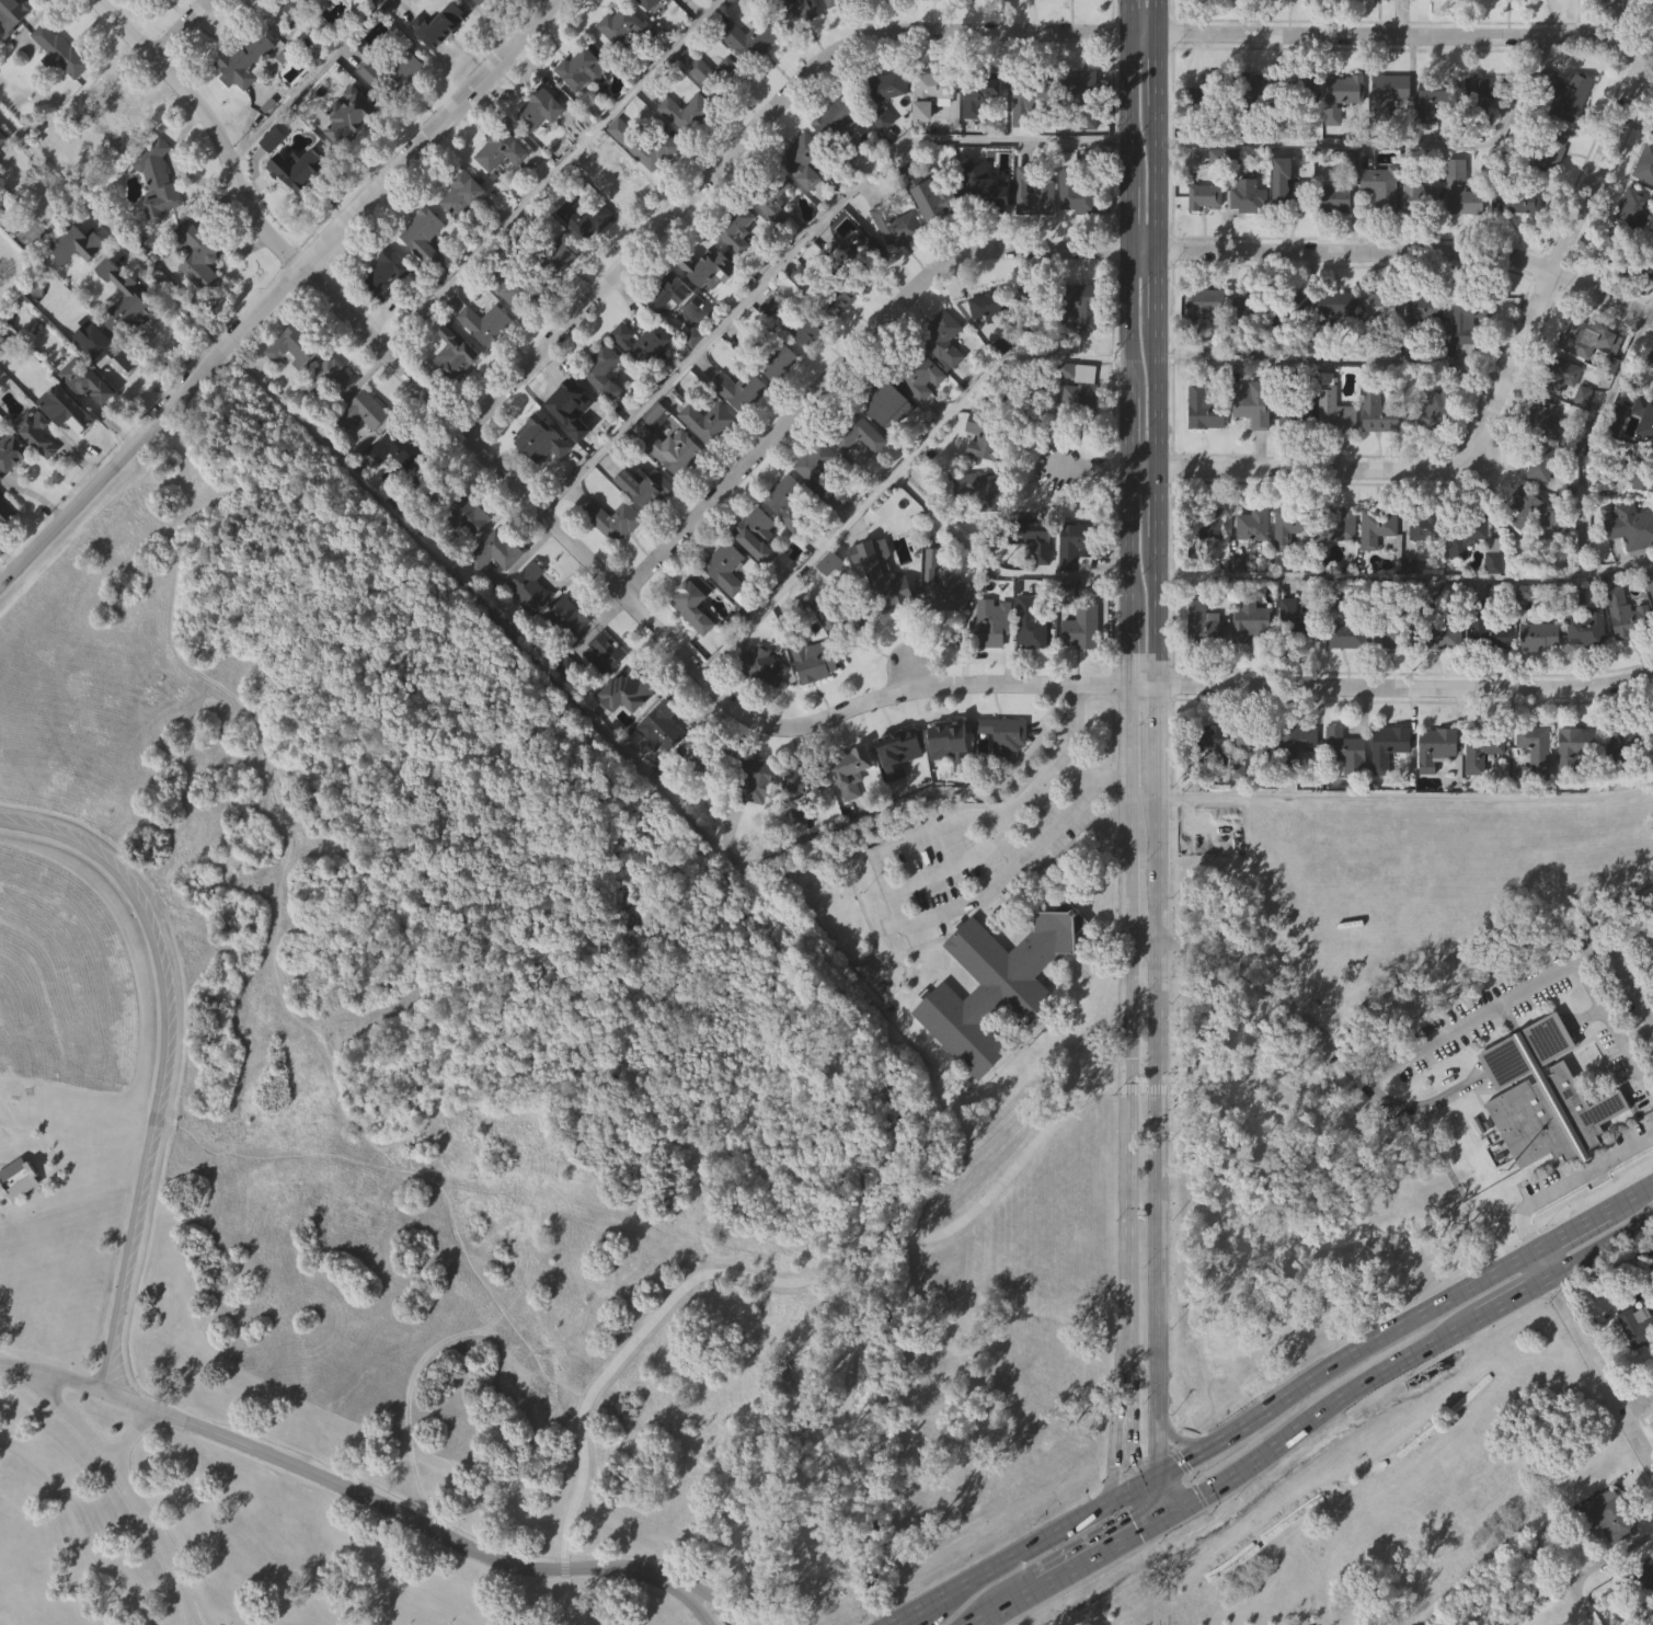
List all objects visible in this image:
building: (1604, 0)
building: (310, 1)
building: (479, 1)
building: (835, 2)
building: (645, 3)
building: (291, 5)
building: (355, 5)
building: (795, 11)
building: (12, 12)
building: (146, 13)
building: (712, 13)
building: (984, 16)
building: (1463, 18)
building: (1033, 19)
building: (887, 21)
building: (1076, 21)
building: (438, 22)
building: (933, 22)
building: (1384, 23)
building: (623, 24)
building: (1333, 24)
building: (1506, 24)
building: (1550, 24)
building: (1618, 25)
building: (1296, 26)
road: (180, 27)
building: (310, 28)
building: (1205, 28)
building: (835, 30)
building: (1247, 30)
building: (0, 31)
building: (655, 32)
road: (1147, 33)
road: (1402, 35)
building: (751, 37)
building: (61, 50)
building: (799, 50)
building: (242, 58)
building: (582, 69)
building: (438, 70)
building: (622, 71)
building: (391, 73)
building: (721, 75)
road: (305, 81)
building: (748, 85)
building: (982, 89)
building: (1299, 90)
building: (1210, 92)
building: (1250, 92)
building: (1485, 92)
building: (884, 94)
building: (927, 94)
building: (1390, 94)
building: (1438, 94)
building: (58, 95)
building: (1084, 95)
building: (1343, 95)
building: (1563, 96)
building: (1030, 99)
building: (245, 105)
building: (540, 108)
building: (118, 113)
building: (689, 113)
building: (353, 115)
building: (391, 115)
building: (579, 115)
building: (710, 116)
building: (835, 118)
building: (1079, 129)
building: (884, 131)
building: (1253, 131)
road: (755, 133)
building: (1342, 137)
building: (1479, 137)
building: (1549, 137)
building: (2, 138)
building: (929, 138)
building: (1387, 138)
building: (977, 140)
building: (1569, 141)
road: (1385, 142)
building: (1196, 144)
building: (1431, 144)
building: (1026, 146)
building: (504, 148)
building: (654, 149)
building: (0, 151)
building: (538, 155)
building: (116, 158)
building: (686, 158)
building: (349, 159)
building: (805, 160)
building: (1646, 160)
building: (292, 164)
building: (834, 164)
building: (880, 164)
road: (550, 173)
building: (158, 180)
building: (272, 183)
building: (622, 183)
building: (1067, 183)
building: (2, 185)
building: (1288, 185)
building: (1384, 187)
building: (643, 190)
building: (989, 192)
building: (1035, 192)
building: (462, 193)
building: (1463, 193)
building: (1549, 193)
building: (1419, 194)
building: (500, 195)
building: (773, 195)
building: (1515, 195)
building: (1206, 196)
building: (1250, 196)
building: (935, 198)
building: (1336, 198)
building: (1633, 205)
building: (803, 206)
building: (298, 214)
building: (586, 217)
building: (157, 224)
building: (898, 226)
building: (621, 228)
building: (738, 228)
building: (1287, 232)
building: (1072, 233)
building: (1379, 233)
building: (984, 234)
building: (425, 236)
building: (460, 238)
road: (800, 239)
building: (1459, 239)
building: (1033, 241)
building: (1203, 242)
building: (1247, 242)
building: (931, 244)
building: (1417, 244)
road: (1564, 244)
building: (773, 245)
building: (1333, 245)
road: (1149, 247)
building: (1514, 248)
road: (1412, 249)
building: (552, 253)
building: (197, 254)
building: (860, 255)
building: (1632, 259)
building: (584, 263)
building: (711, 265)
building: (386, 271)
building: (898, 275)
building: (737, 277)
building: (108, 279)
building: (423, 281)
building: (516, 286)
building: (1612, 288)
building: (74, 289)
building: (671, 291)
road: (276, 293)
building: (841, 296)
building: (560, 299)
building: (197, 300)
building: (870, 300)
building: (774, 302)
building: (991, 302)
building: (1082, 304)
building: (1212, 304)
building: (1036, 305)
building: (1428, 307)
building: (1256, 309)
building: (1290, 309)
building: (1335, 309)
building: (1379, 310)
building: (708, 314)
building: (384, 317)
building: (1471, 318)
building: (486, 323)
building: (810, 323)
building: (513, 339)
building: (945, 339)
building: (668, 340)
building: (644, 342)
building: (1595, 342)
building: (125, 345)
building: (295, 347)
building: (1298, 348)
building: (985, 350)
building: (1207, 350)
building: (1080, 351)
building: (835, 353)
building: (1334, 353)
building: (457, 354)
building: (1246, 354)
building: (1377, 354)
building: (770, 355)
building: (1423, 355)
road: (1335, 356)
building: (1650, 359)
road: (852, 363)
building: (1467, 366)
building: (91, 368)
building: (485, 368)
building: (605, 370)
road: (996, 370)
building: (805, 374)
building: (920, 375)
building: (1563, 376)
building: (326, 379)
building: (691, 382)
building: (1587, 385)
building: (41, 386)
building: (641, 387)
building: (741, 389)
building: (1081, 389)
building: (941, 390)
building: (292, 391)
building: (454, 399)
building: (1255, 403)
building: (571, 405)
building: (885, 407)
building: (1335, 407)
building: (777, 408)
building: (1206, 409)
building: (363, 411)
building: (1381, 412)
building: (1437, 412)
building: (1646, 413)
building: (1299, 415)
building: (600, 416)
building: (1546, 419)
building: (710, 422)
building: (83, 424)
building: (326, 424)
building: (920, 424)
building: (37, 432)
building: (1077, 433)
building: (858, 434)
building: (738, 435)
building: (540, 442)
building: (978, 446)
building: (399, 448)
building: (676, 449)
building: (1250, 449)
building: (11, 453)
building: (570, 453)
building: (66, 454)
building: (1203, 454)
building: (1332, 454)
building: (1432, 455)
building: (360, 457)
building: (652, 458)
building: (1376, 458)
building: (1294, 462)
building: (1547, 462)
building: (707, 468)
road: (1094, 468)
road: (1143, 469)
road: (1318, 469)
building: (1638, 470)
building: (820, 472)
road: (894, 474)
building: (36, 478)
building: (858, 480)
building: (434, 484)
building: (540, 484)
building: (646, 488)
building: (983, 489)
building: (397, 493)
building: (674, 496)
building: (790, 500)
building: (814, 507)
building: (1535, 510)
building: (5, 512)
road: (542, 514)
building: (462, 515)
building: (615, 520)
building: (1255, 524)
building: (1340, 524)
building: (1379, 525)
building: (1633, 525)
building: (1293, 526)
building: (1427, 526)
building: (1205, 529)
building: (643, 533)
building: (757, 534)
building: (977, 535)
building: (1476, 536)
building: (1036, 539)
building: (1078, 545)
building: (496, 548)
building: (784, 548)
building: (1523, 554)
building: (5, 556)
building: (466, 562)
building: (833, 563)
building: (611, 565)
building: (1208, 567)
building: (1552, 567)
building: (1251, 571)
building: (1335, 572)
building: (1422, 572)
building: (725, 573)
building: (1286, 574)
building: (1375, 574)
building: (877, 576)
road: (1506, 577)
building: (1648, 580)
building: (755, 581)
building: (1467, 582)
building: (946, 586)
building: (1032, 587)
building: (529, 590)
building: (493, 596)
building: (695, 599)
building: (1491, 600)
building: (1408, 610)
building: (724, 613)
building: (1630, 615)
building: (842, 616)
building: (566, 618)
building: (880, 619)
building: (1077, 619)
road: (500, 621)
building: (1586, 621)
building: (1259, 622)
building: (989, 626)
building: (1207, 626)
building: (1298, 626)
building: (1392, 626)
building: (1490, 627)
building: (1442, 629)
building: (1033, 630)
building: (942, 632)
building: (1348, 634)
building: (1542, 634)
building: (527, 636)
building: (804, 640)
building: (691, 649)
building: (602, 653)
building: (564, 662)
building: (758, 663)
building: (1249, 668)
building: (988, 670)
building: (1029, 670)
building: (1202, 670)
building: (1293, 670)
building: (1080, 674)
building: (1584, 674)
building: (1486, 676)
building: (1345, 682)
building: (1443, 682)
building: (1538, 683)
building: (1387, 685)
building: (631, 687)
road: (1144, 688)
road: (1404, 688)
road: (1134, 689)
building: (601, 699)
building: (813, 707)
building: (755, 708)
building: (563, 709)
building: (1651, 724)
building: (658, 726)
building: (1006, 733)
building: (625, 735)
road: (1156, 735)
building: (1256, 739)
building: (953, 741)
building: (1625, 743)
building: (1297, 744)
building: (1439, 744)
building: (1391, 745)
building: (1484, 745)
building: (1205, 747)
building: (1577, 747)
building: (898, 749)
building: (1348, 751)
building: (1538, 751)
building: (709, 752)
building: (1652, 762)
building: (669, 765)
building: (853, 768)
road: (1079, 775)
building: (806, 778)
building: (754, 780)
building: (1002, 780)
building: (632, 783)
building: (1207, 783)
building: (1297, 785)
building: (1620, 787)
building: (949, 789)
building: (1253, 789)
building: (1386, 792)
road: (1405, 792)
building: (1434, 792)
building: (1573, 792)
building: (1344, 796)
building: (1534, 796)
building: (897, 797)
building: (1480, 797)
building: (697, 805)
building: (850, 817)
building: (754, 826)
road: (269, 834)
building: (795, 838)
road: (956, 861)
road: (885, 884)
road: (1146, 942)
road: (1628, 977)
building: (999, 985)
building: (995, 1030)
road: (822, 1053)
road: (167, 1064)
building: (1547, 1096)
road: (1412, 1098)
park: (446, 1140)
building: (1541, 1142)
road: (1417, 1151)
building: (21, 1178)
road: (1629, 1198)
road: (393, 1216)
building: (18, 1222)
road: (1568, 1232)
road: (1599, 1251)
road: (966, 1257)
road: (1538, 1267)
road: (1512, 1302)
building: (1638, 1327)
road: (1343, 1359)
road: (1600, 1373)
building: (1634, 1373)
road: (1457, 1382)
road: (1124, 1392)
road: (1638, 1399)
road: (1325, 1412)
road: (130, 1434)
road: (277, 1438)
road: (1178, 1438)
road: (1115, 1454)
traffic signals: (1134, 1455)
traffic signals: (1186, 1456)
road: (1135, 1462)
traffic signals: (1114, 1464)
road: (120, 1476)
road: (1150, 1476)
road: (25, 1477)
road: (347, 1486)
road: (1168, 1489)
road: (1166, 1513)
building: (1615, 1517)
park: (1385, 1521)
road: (1136, 1529)
traffic signals: (1138, 1529)
road: (78, 1534)
road: (1019, 1553)
building: (1604, 1560)
road: (1592, 1566)
road: (1069, 1567)
building: (1639, 1577)
road: (715, 1606)
road: (700, 1609)
road: (992, 1610)
road: (1256, 1613)
building: (1652, 1616)

